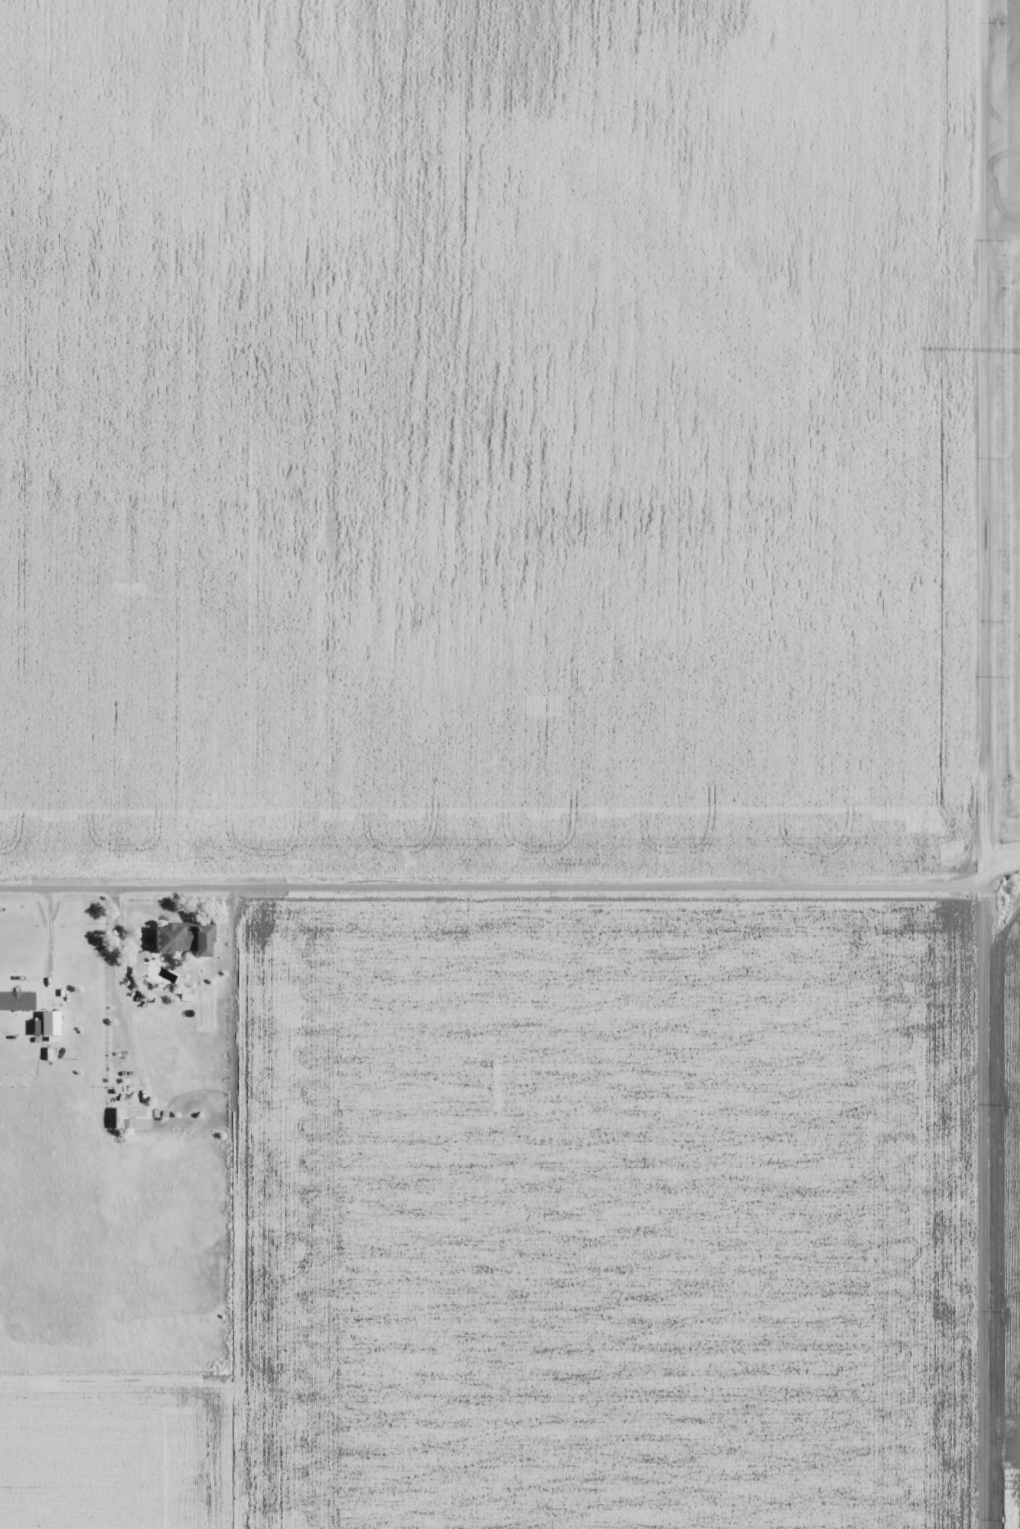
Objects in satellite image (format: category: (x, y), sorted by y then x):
road: (997, 265)
road: (974, 764)
road: (487, 907)
building: (187, 937)
building: (132, 1117)

